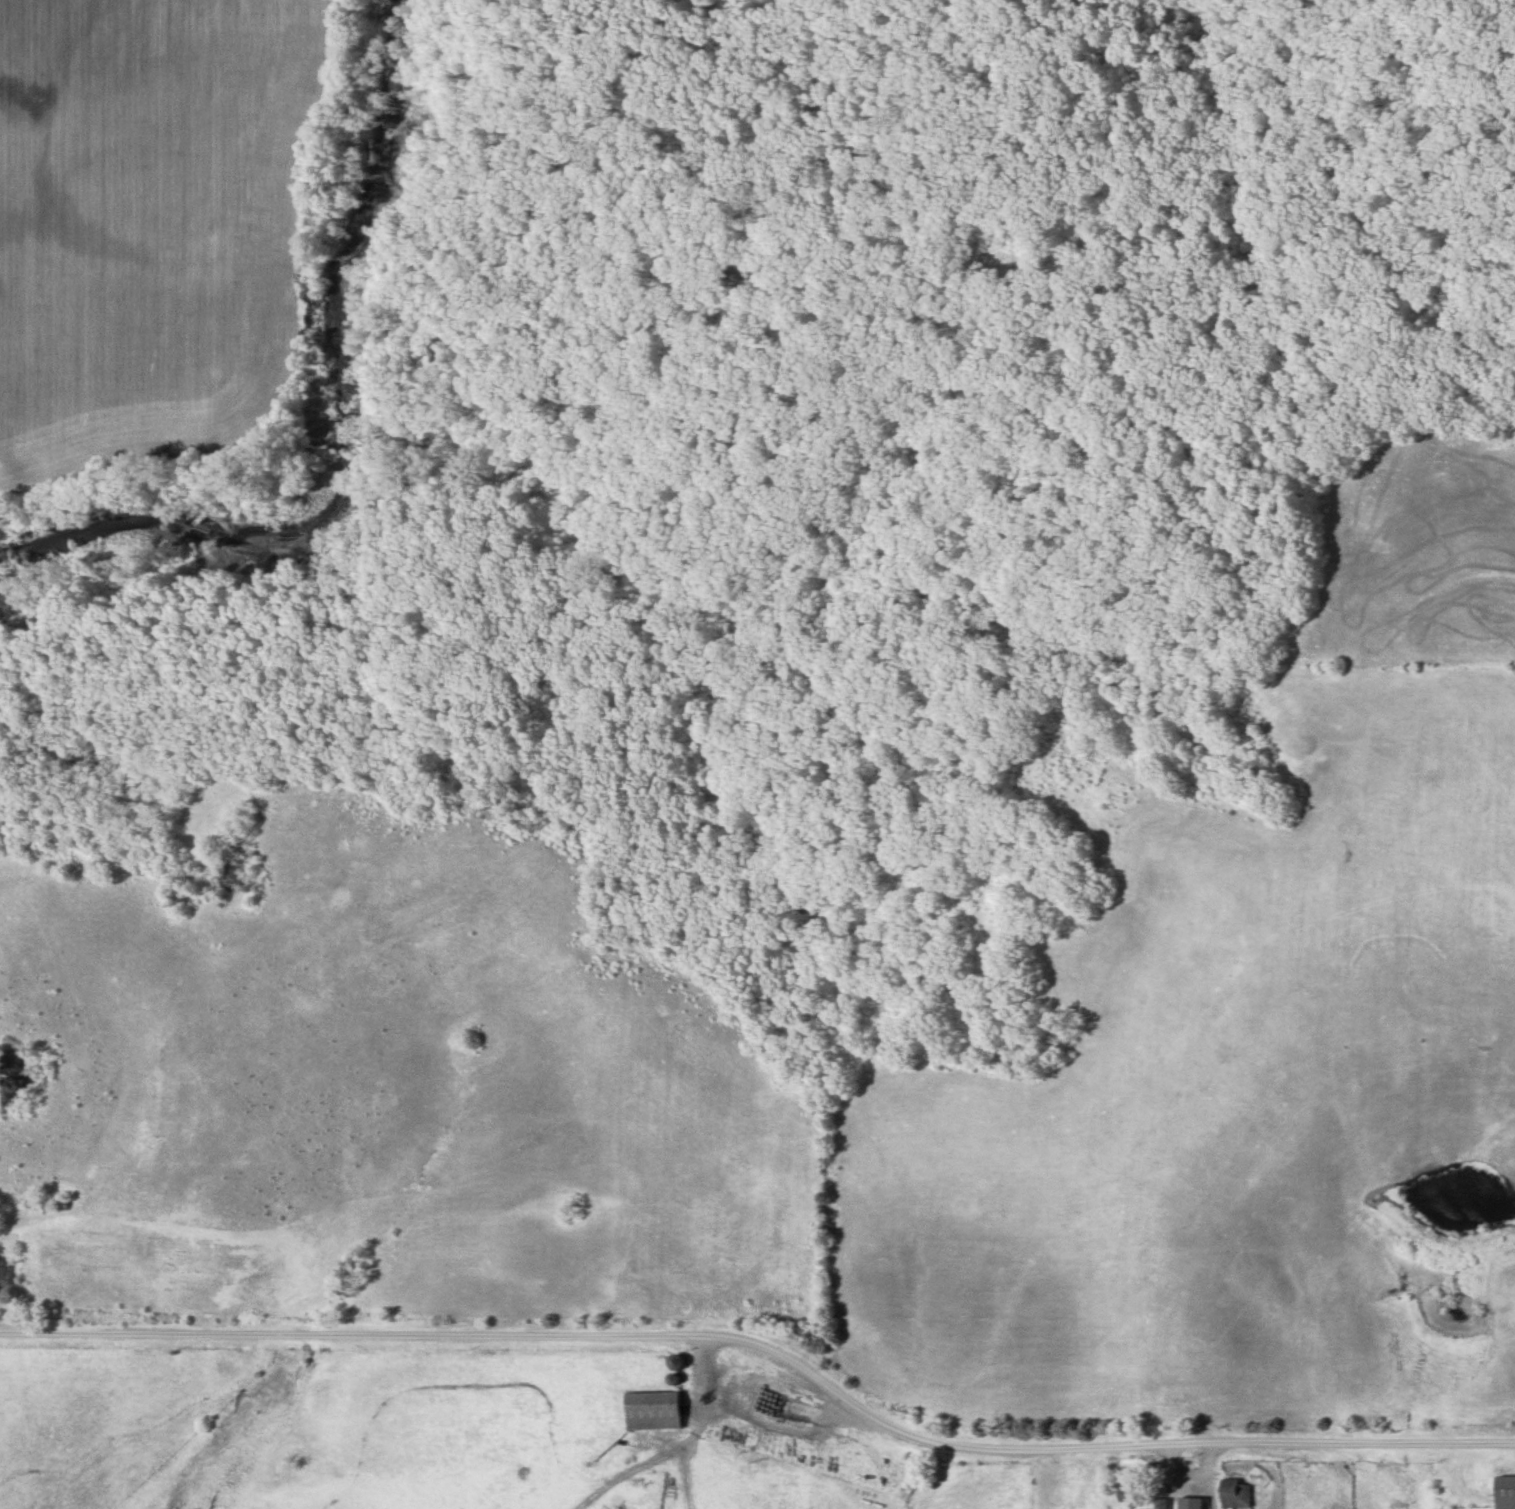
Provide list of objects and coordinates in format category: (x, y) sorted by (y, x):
park: (997, 258)
building: (5, 1277)
road: (768, 1348)
building: (672, 1362)
building: (650, 1409)
building: (1502, 1492)
building: (1230, 1493)
building: (1159, 1503)
building: (1187, 1503)

